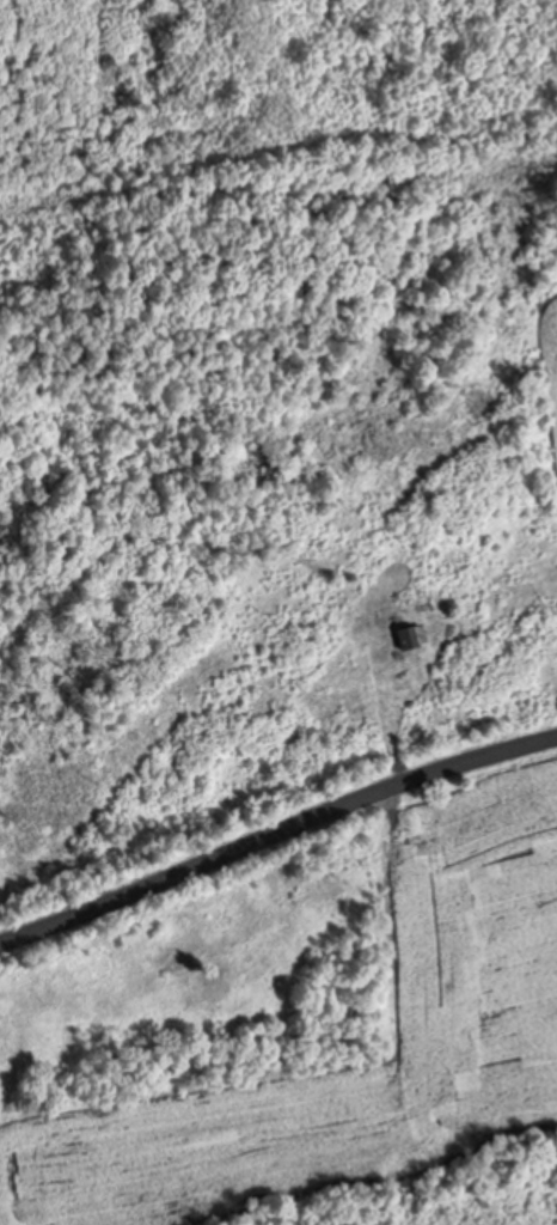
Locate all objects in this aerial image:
road: (276, 791)

